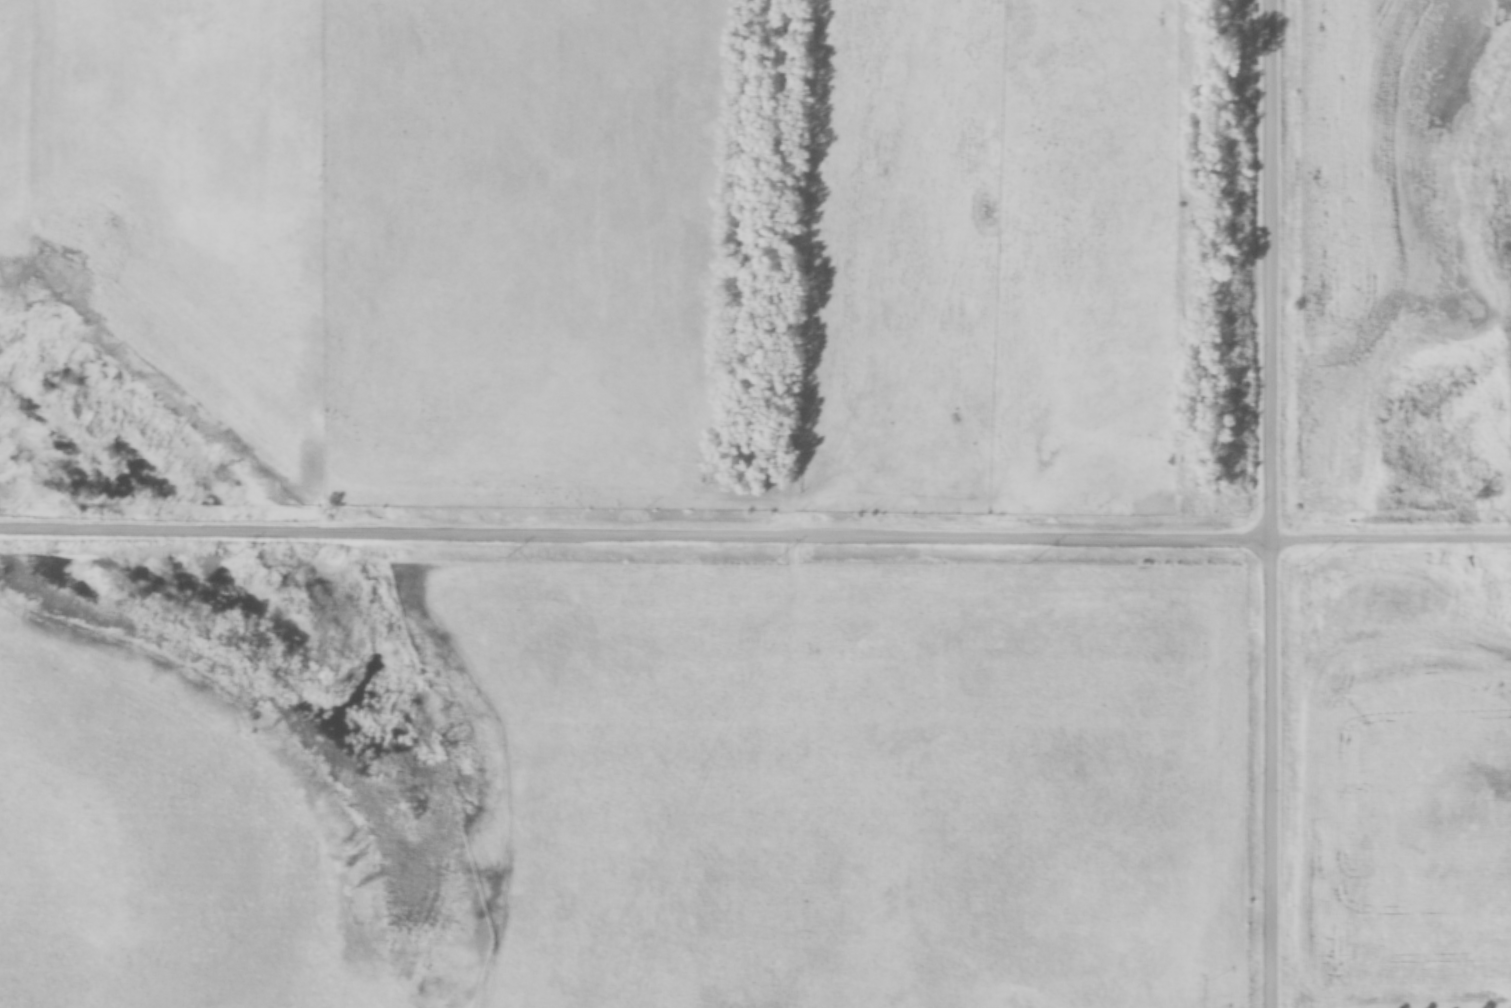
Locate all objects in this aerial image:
road: (1280, 504)
road: (755, 535)

